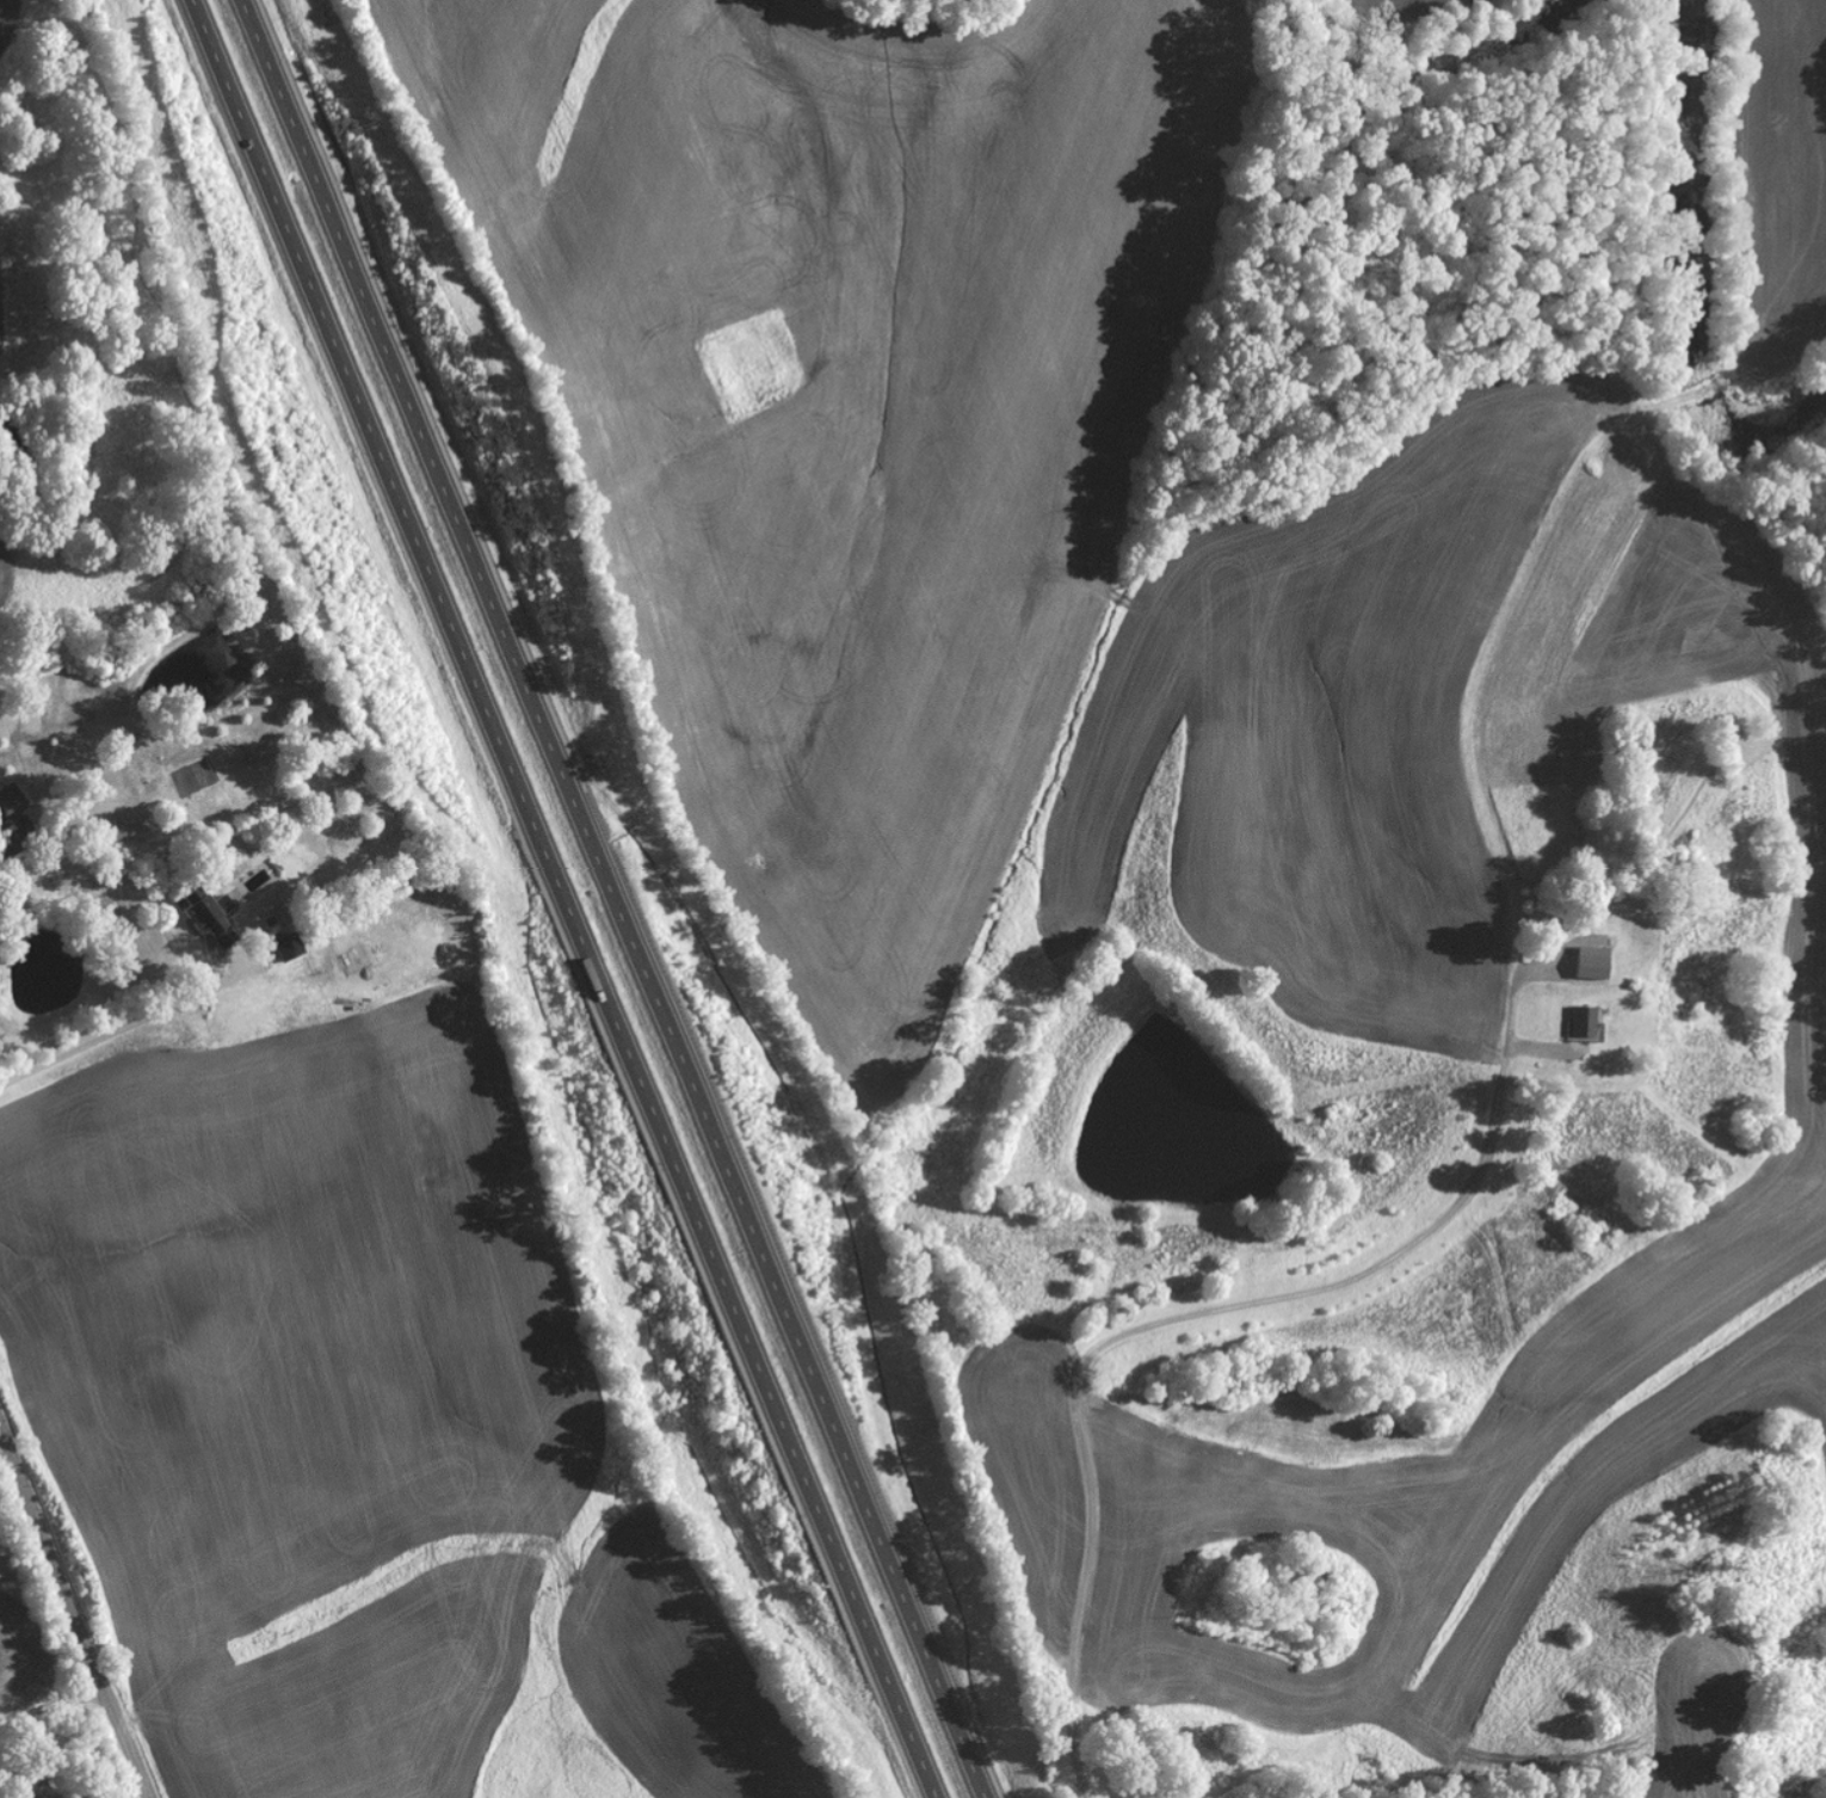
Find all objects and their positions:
building: (13, 832)
road: (615, 898)
road: (561, 899)
building: (210, 920)
building: (286, 948)
building: (1589, 965)
building: (1580, 1023)
road: (70, 1615)

